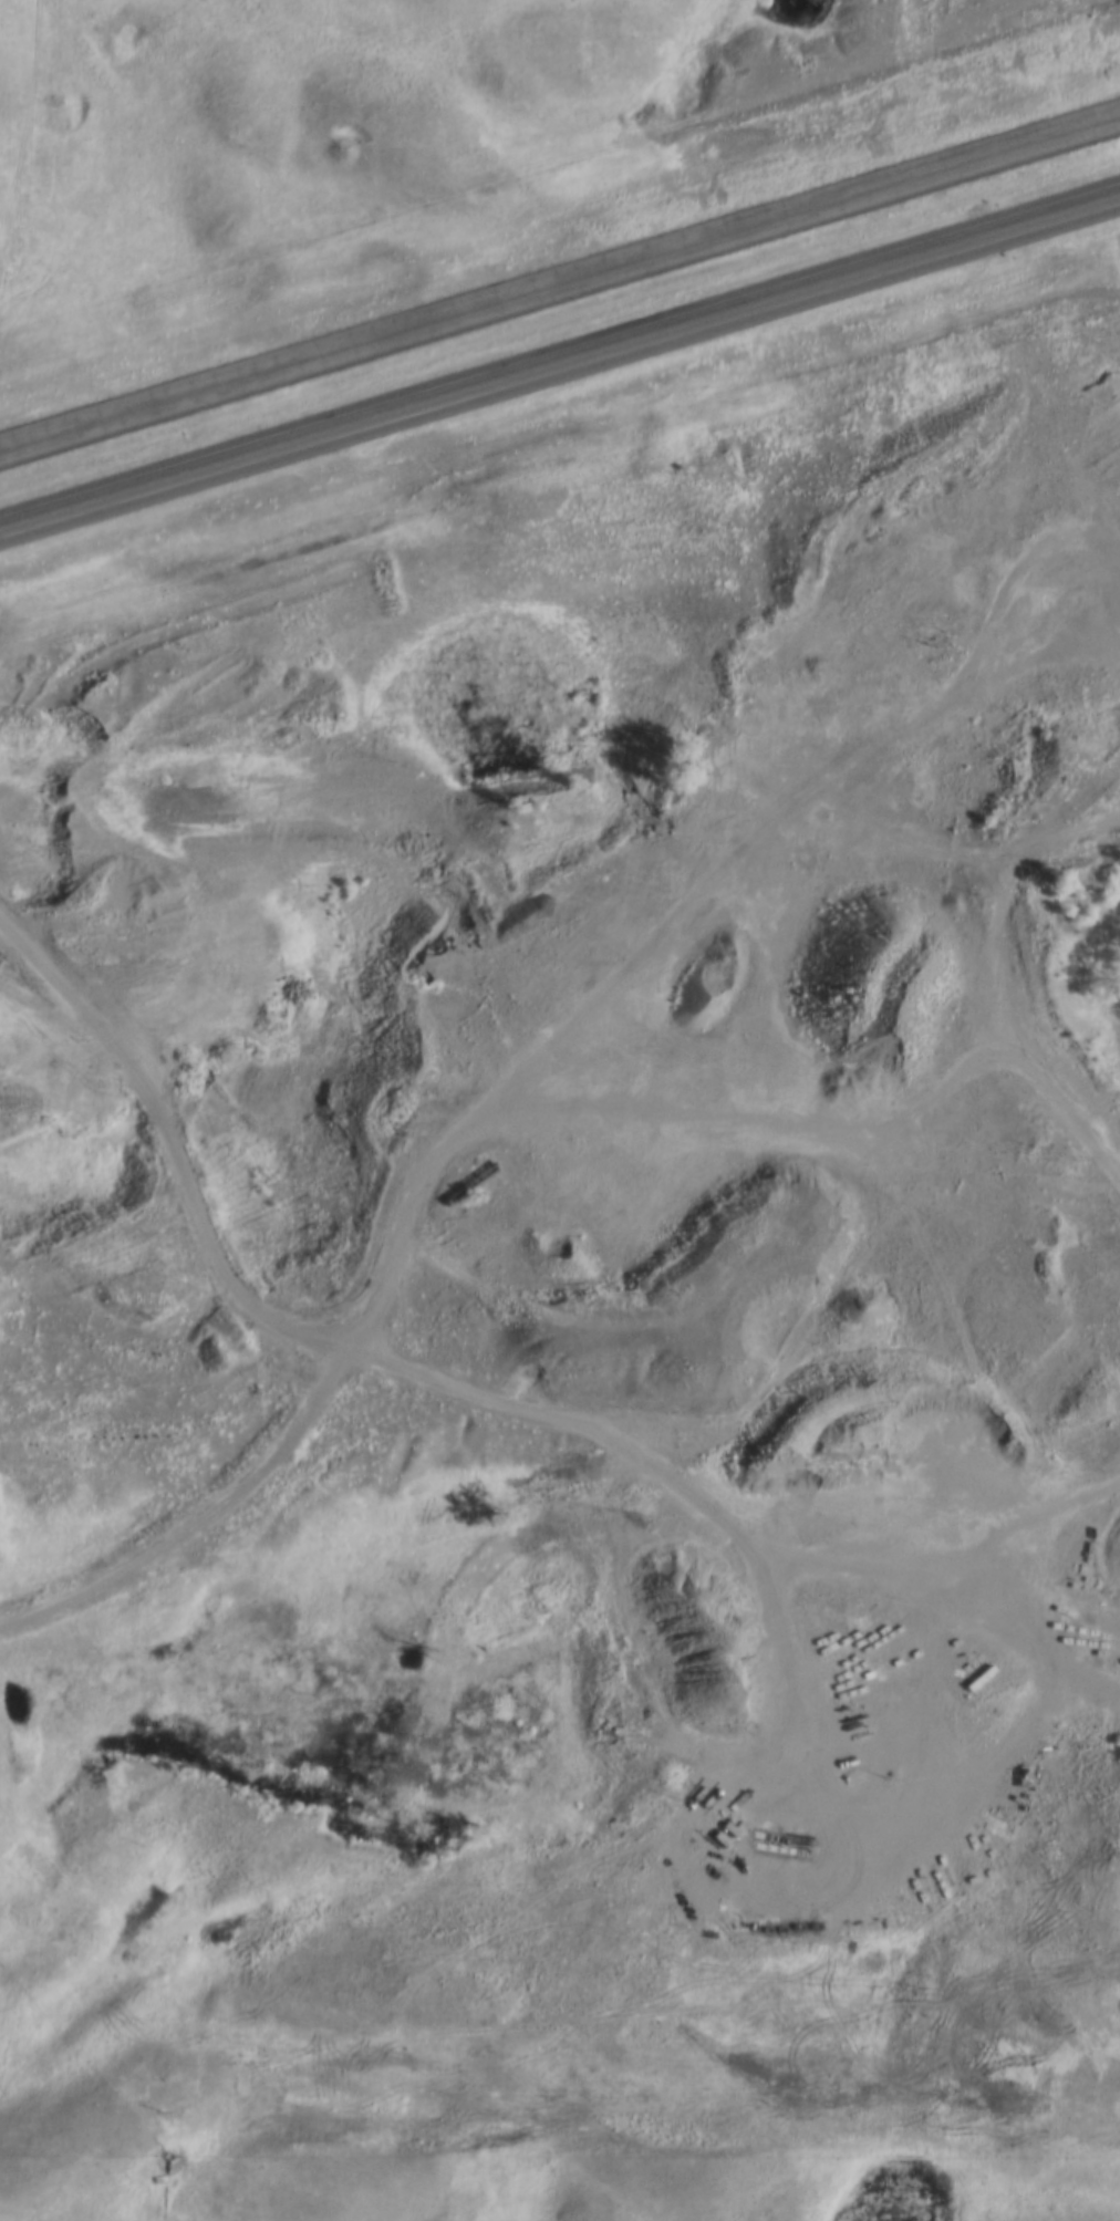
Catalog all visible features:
road: (905, 12)
road: (559, 283)
road: (559, 369)
building: (1033, 496)
road: (1049, 1036)
road: (521, 1038)
road: (180, 1119)
road: (873, 1268)
quarry: (660, 1295)
road: (898, 1557)

